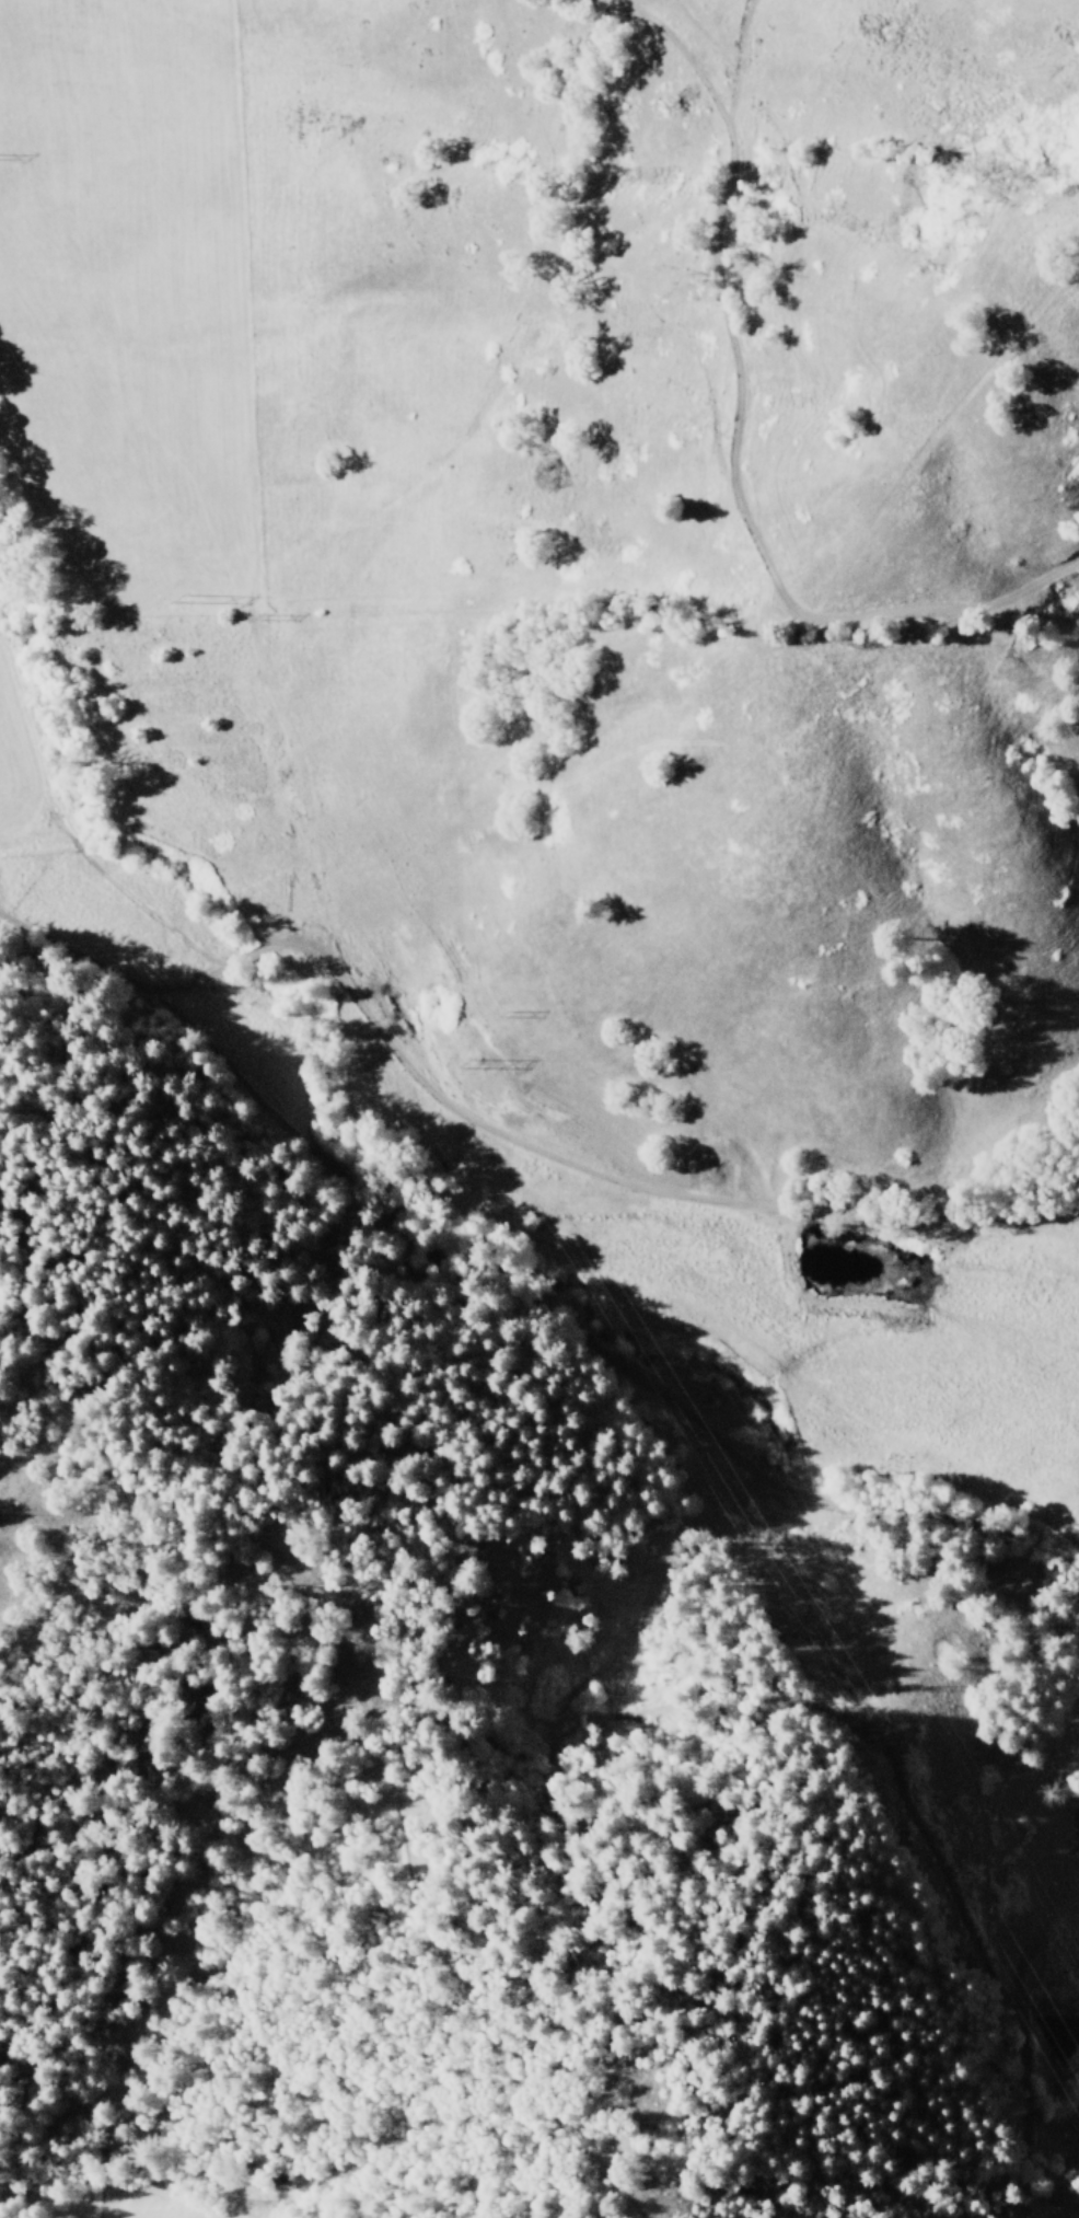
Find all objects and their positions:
power tower: (176, 599)
power tower: (462, 1065)
power tower: (885, 1735)

